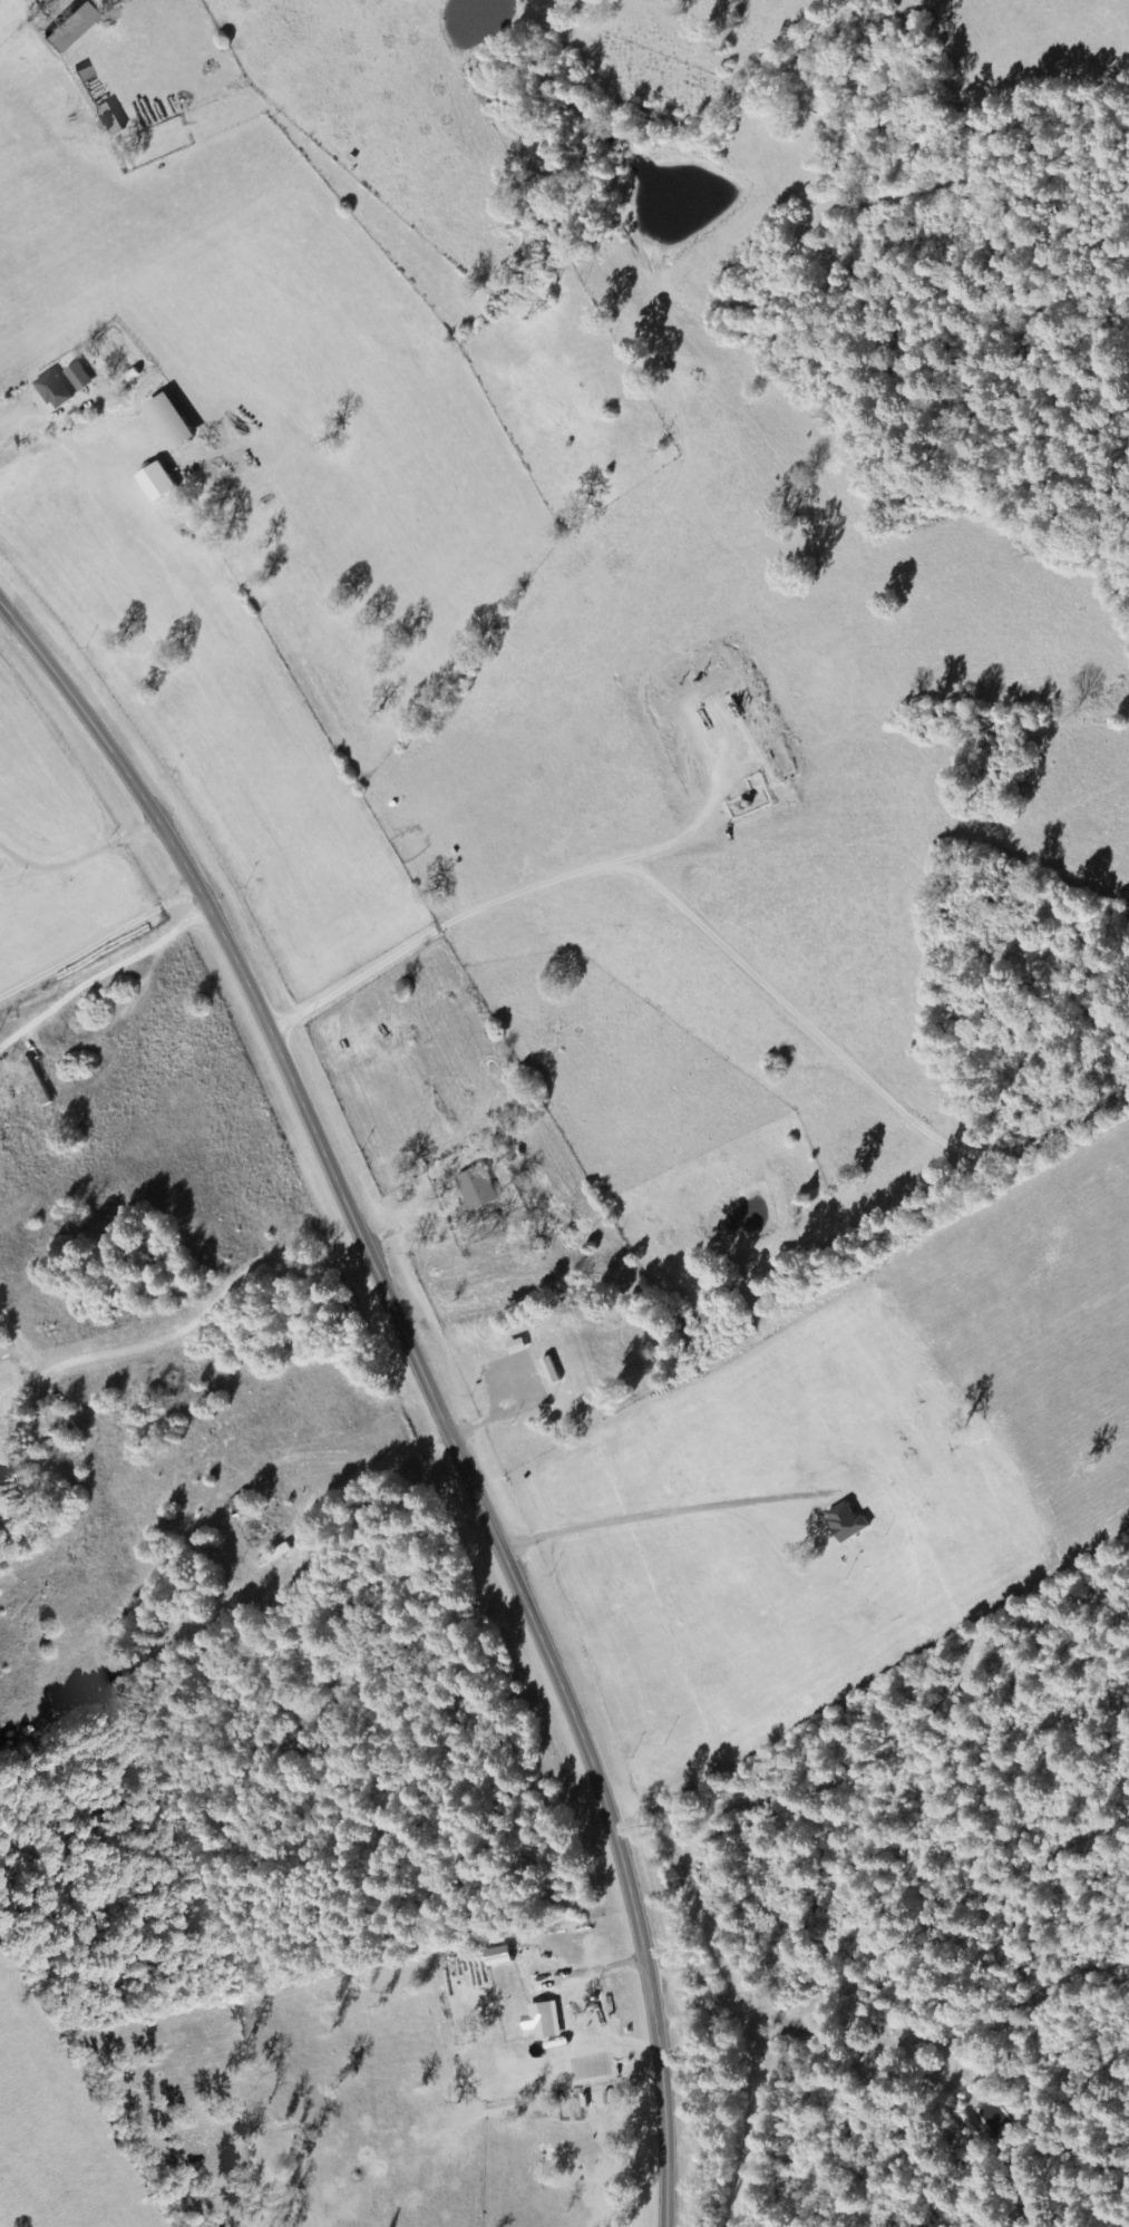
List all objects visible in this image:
building: (74, 27)
building: (103, 100)
building: (81, 377)
building: (57, 390)
building: (177, 422)
building: (164, 483)
road: (94, 925)
building: (475, 1187)
building: (548, 1370)
road: (425, 1380)
building: (844, 1523)
building: (496, 1956)
building: (541, 2021)

